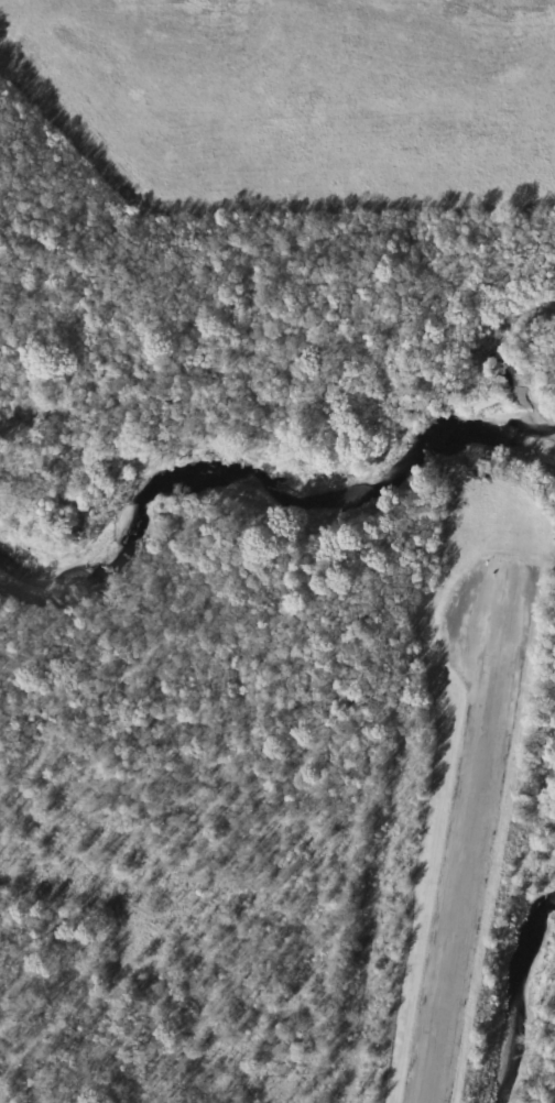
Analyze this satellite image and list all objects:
airport runway: (469, 834)

